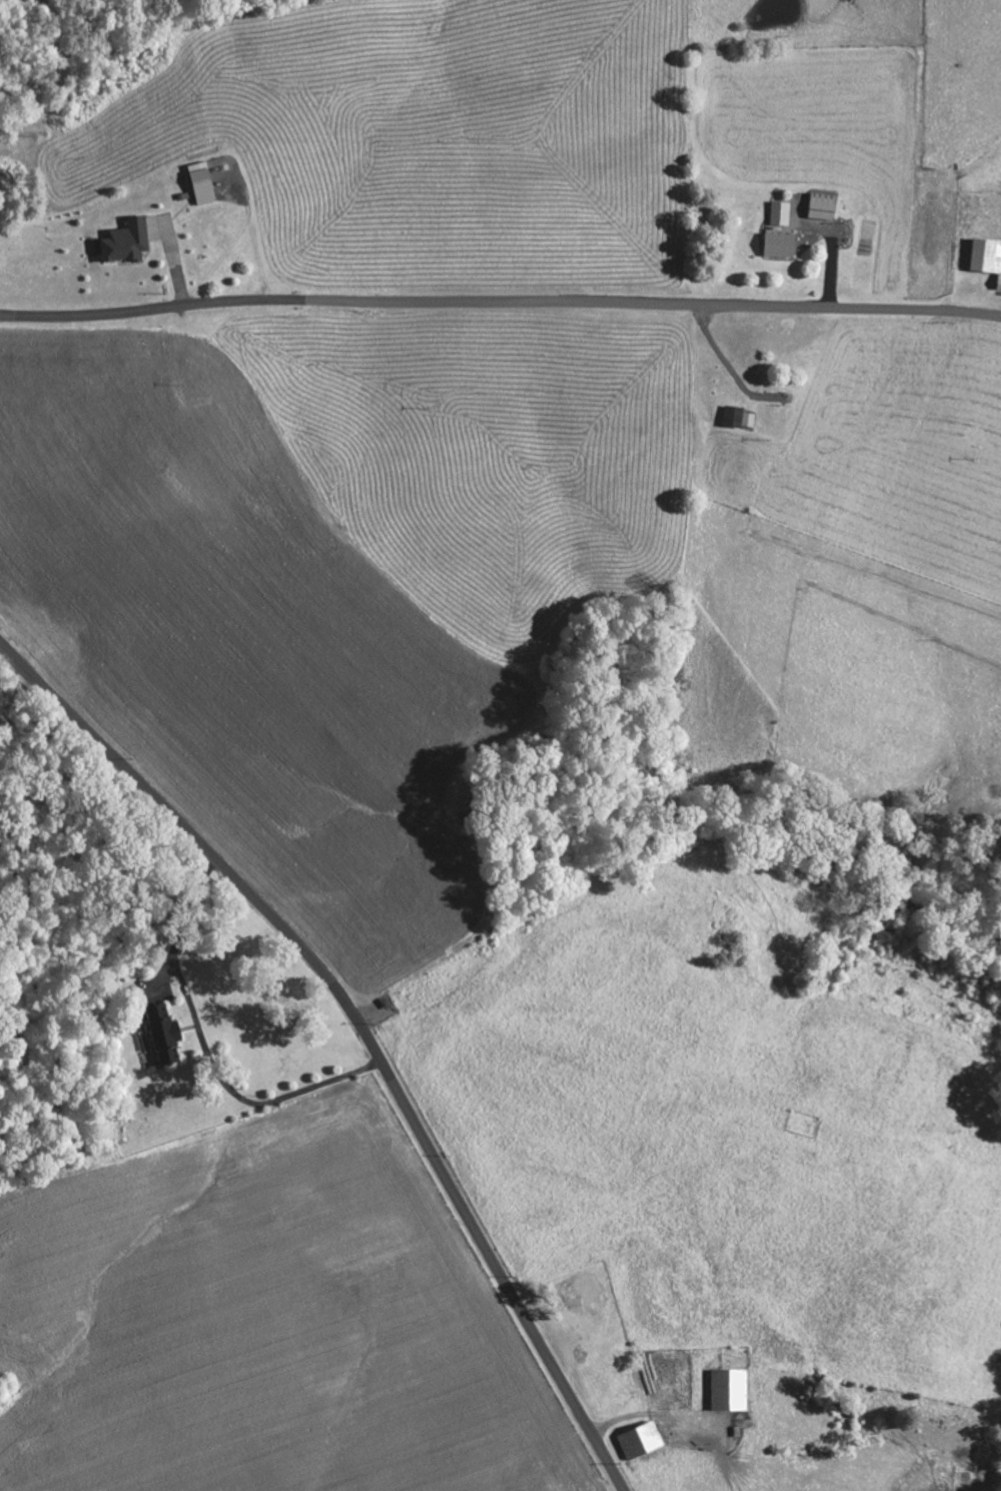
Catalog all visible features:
building: (199, 183)
building: (819, 207)
building: (778, 214)
building: (123, 242)
building: (776, 246)
building: (985, 259)
road: (181, 306)
road: (682, 306)
building: (736, 418)
road: (364, 1027)
building: (157, 1037)
building: (578, 1291)
building: (726, 1390)
building: (637, 1441)

